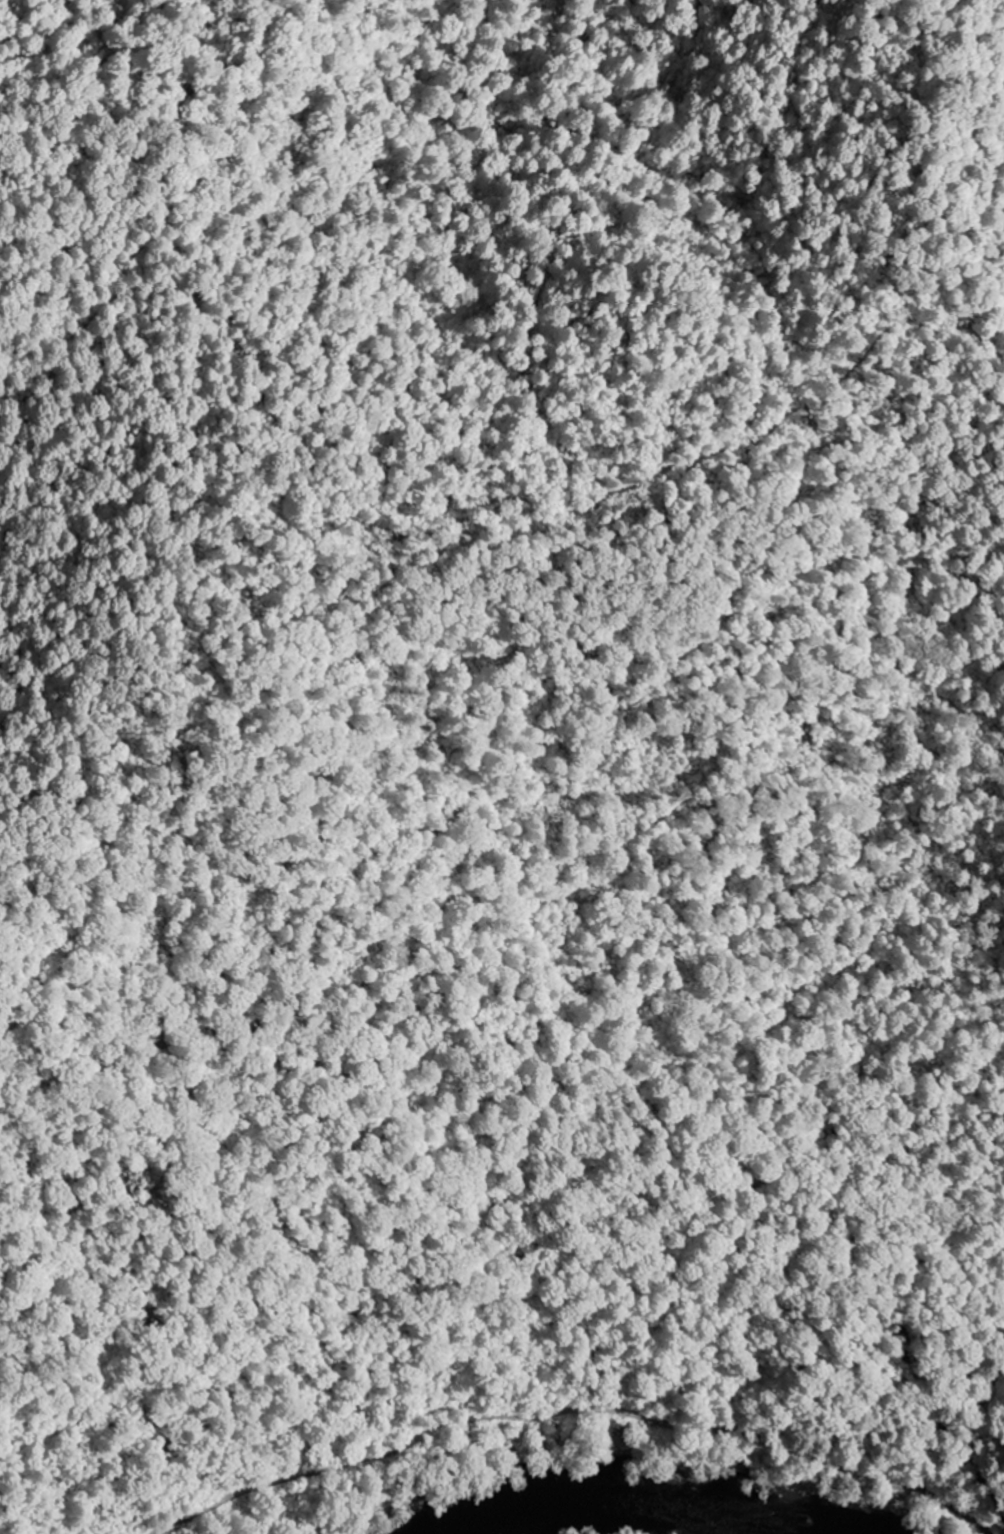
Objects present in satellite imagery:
river: (628, 1507)

